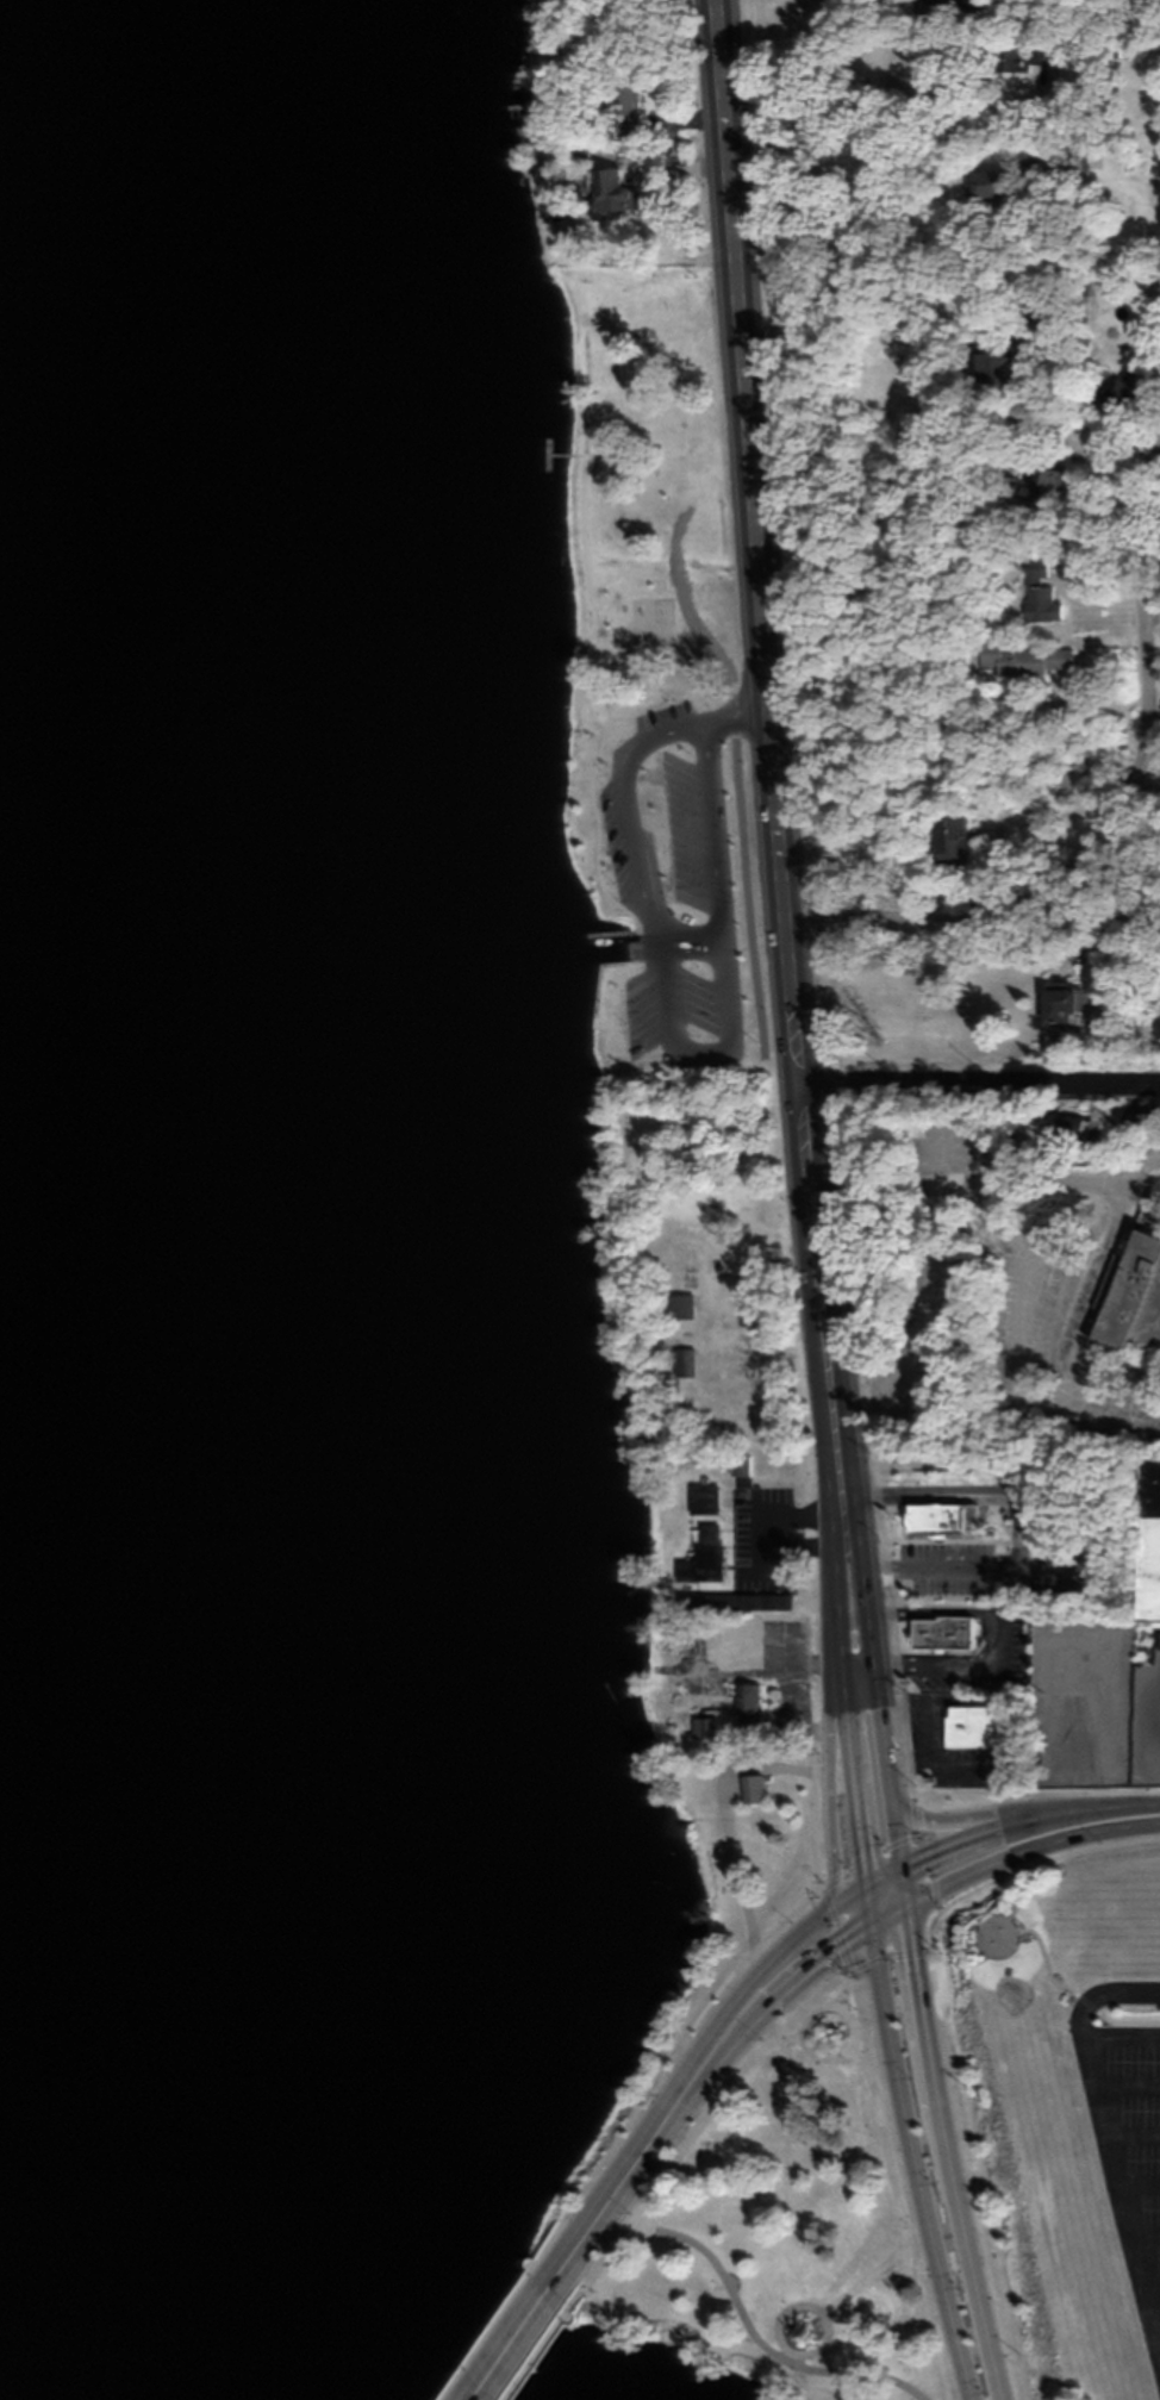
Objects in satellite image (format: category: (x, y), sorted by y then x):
road: (890, 111)
building: (986, 183)
building: (615, 195)
road: (930, 243)
building: (1030, 316)
building: (994, 367)
building: (1118, 392)
building: (1036, 486)
building: (1040, 593)
building: (1021, 660)
road: (775, 749)
road: (1122, 811)
building: (947, 836)
park: (675, 854)
road: (1093, 905)
road: (711, 928)
building: (1060, 1004)
road: (980, 1077)
building: (1058, 1126)
building: (1123, 1289)
building: (681, 1304)
river: (199, 1313)
building: (1149, 1317)
building: (685, 1361)
building: (743, 1453)
building: (740, 1464)
building: (706, 1486)
road: (962, 1489)
road: (779, 1509)
building: (937, 1517)
building: (1152, 1526)
parking lot: (765, 1529)
building: (706, 1545)
road: (973, 1564)
road: (1006, 1587)
building: (756, 1591)
building: (740, 1601)
road: (936, 1608)
building: (946, 1628)
building: (732, 1641)
road: (965, 1659)
road: (771, 1663)
building: (750, 1696)
road: (794, 1708)
road: (842, 1712)
building: (707, 1714)
building: (986, 1718)
building: (703, 1726)
building: (756, 1776)
building: (749, 1787)
road: (829, 1793)
road: (985, 1812)
road: (730, 1822)
road: (944, 1850)
road: (1008, 1854)
traffic signals: (900, 1869)
traffic signals: (863, 1885)
traffic signals: (906, 1905)
traffic signals: (868, 1926)
road: (911, 1950)
road: (819, 1953)
road: (1120, 2025)
road: (1124, 2075)
road: (660, 2122)
road: (1131, 2126)
road: (881, 2131)
road: (1105, 2137)
road: (915, 2163)
road: (1137, 2173)
road: (629, 2224)
park: (782, 2224)
road: (1143, 2224)
road: (1149, 2270)
road: (861, 2273)
road: (754, 2325)
road: (1156, 2326)
road: (781, 2329)
road: (517, 2338)
road: (787, 2344)

